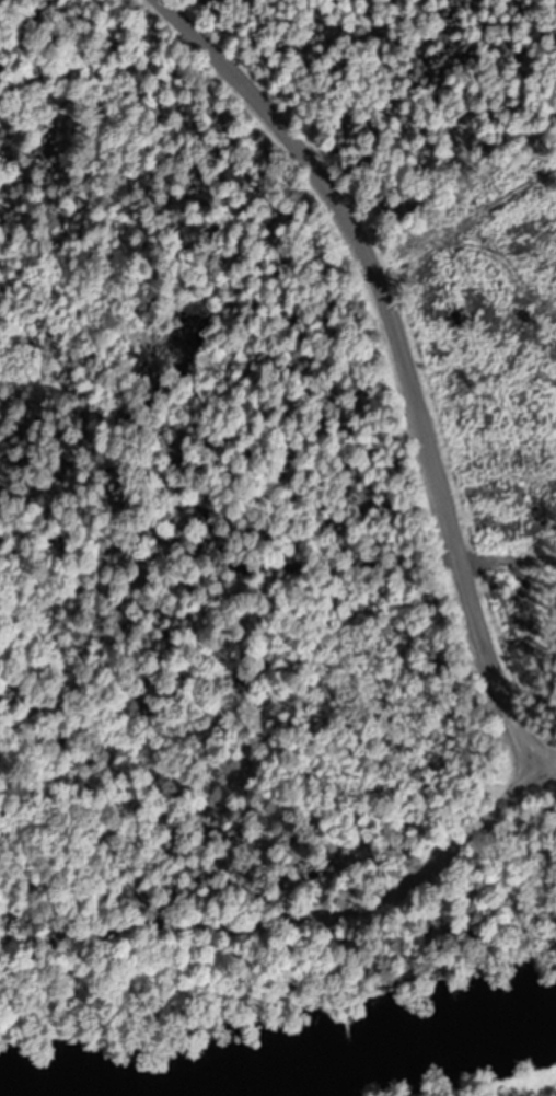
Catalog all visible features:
road: (404, 364)
park: (43, 875)
road: (297, 925)
river: (278, 1072)

